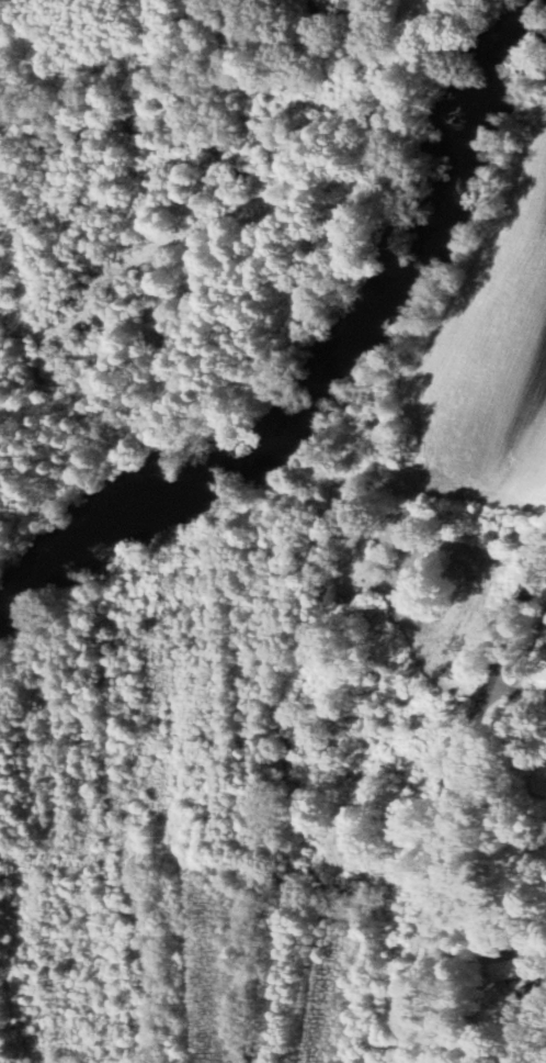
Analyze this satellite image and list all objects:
river: (488, 92)
river: (268, 448)
road: (514, 693)
road: (452, 801)

